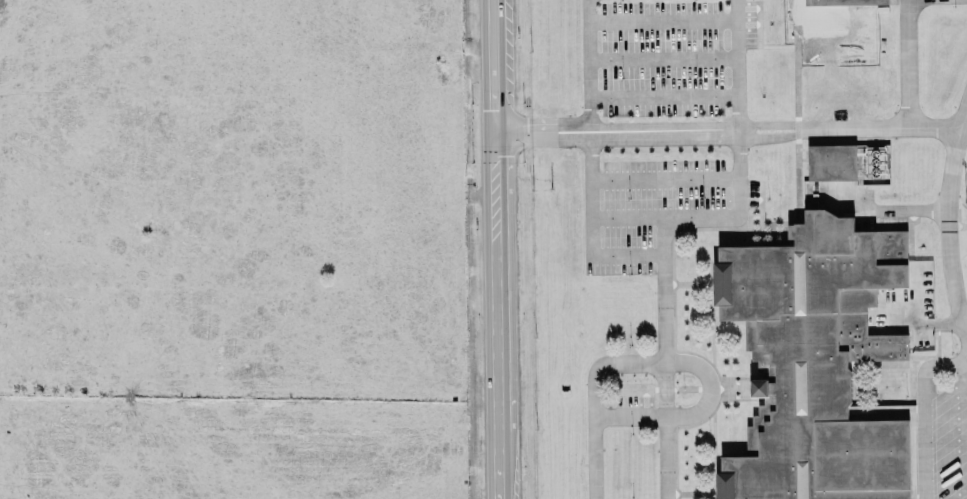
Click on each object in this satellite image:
building: (826, 3)
road: (661, 17)
road: (661, 58)
road: (905, 62)
road: (735, 63)
road: (588, 64)
road: (662, 95)
road: (728, 126)
road: (664, 181)
road: (591, 209)
road: (948, 221)
road: (957, 224)
road: (958, 243)
road: (498, 249)
road: (611, 255)
road: (664, 311)
road: (963, 314)
building: (814, 361)
road: (689, 411)
road: (924, 412)
road: (666, 429)

